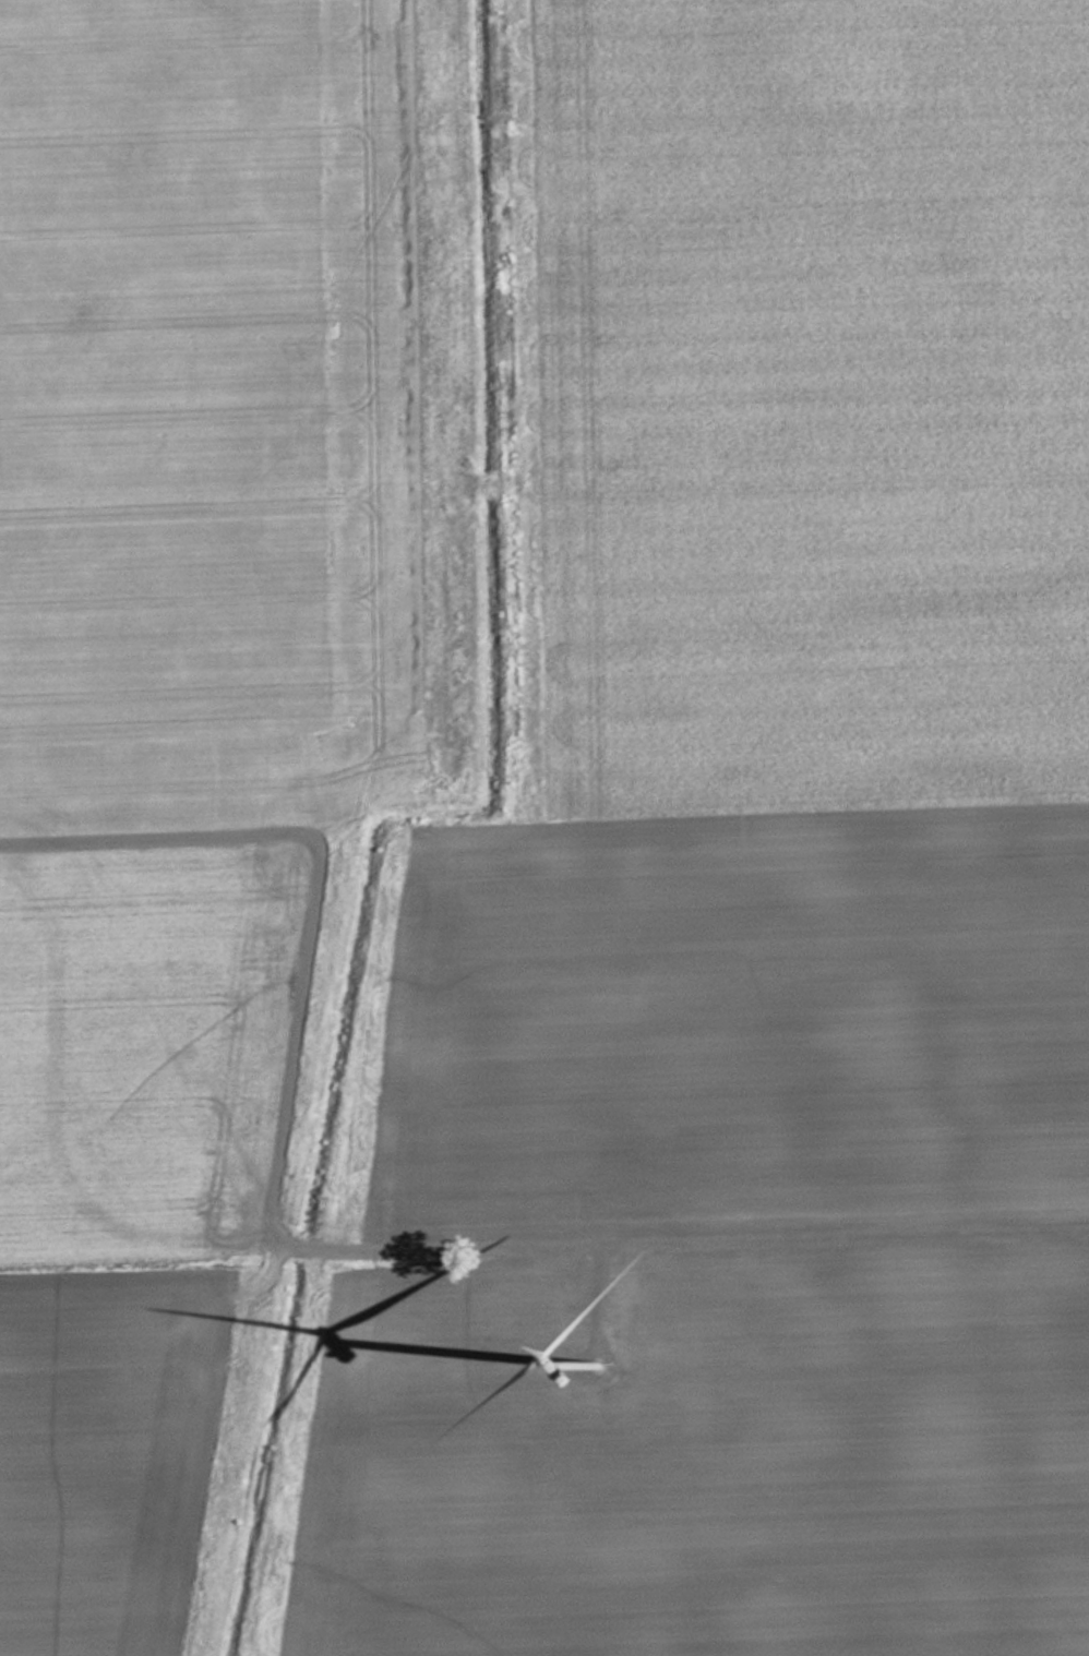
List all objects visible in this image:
wind turbine: (609, 1373)

